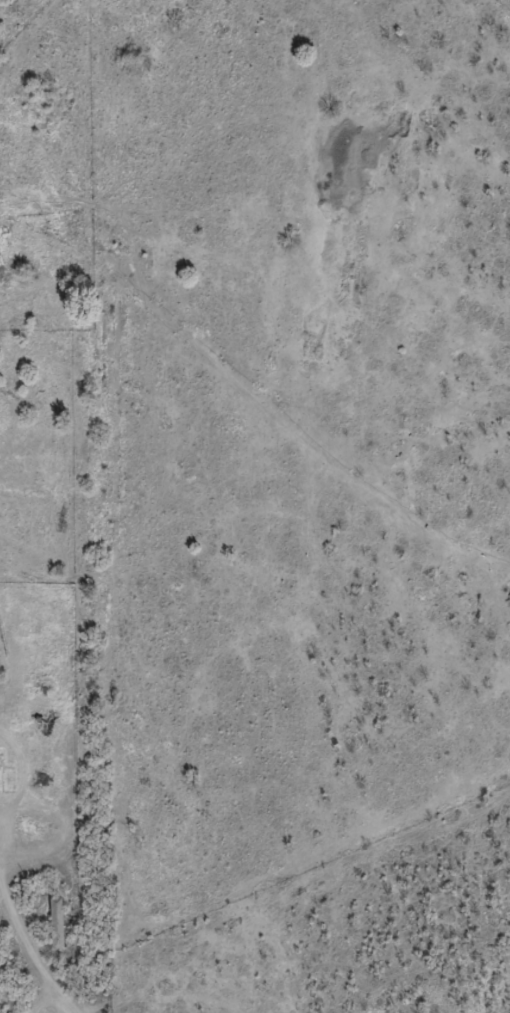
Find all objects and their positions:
building: (55, 931)
road: (26, 948)

